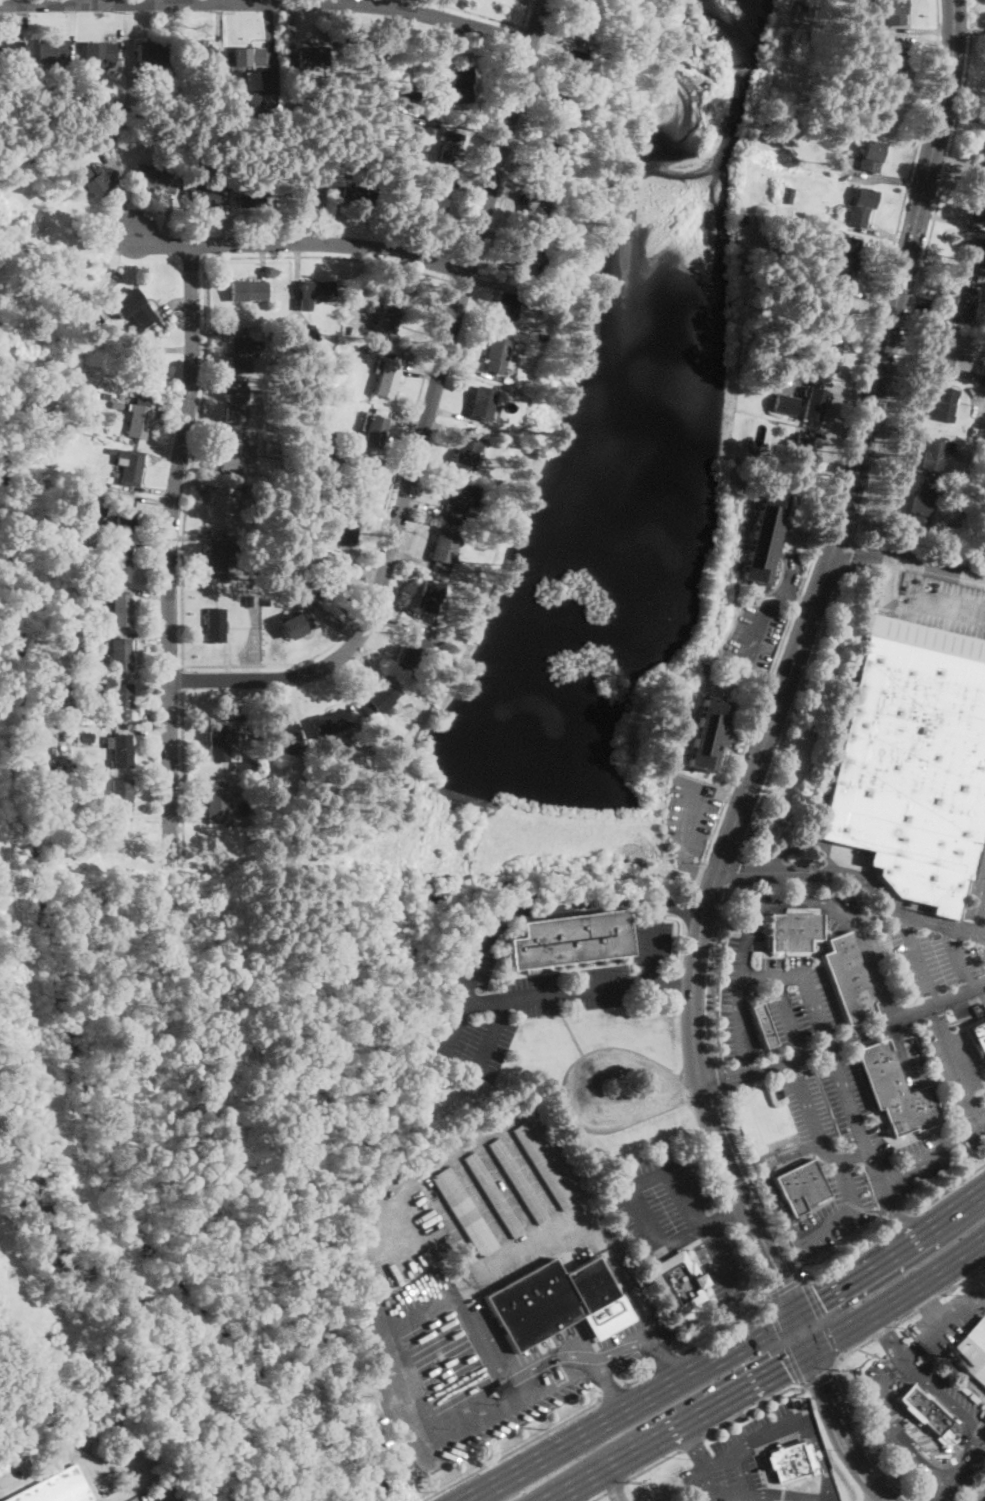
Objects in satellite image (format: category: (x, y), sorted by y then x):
road: (161, 0)
road: (12, 1)
road: (59, 1)
road: (316, 1)
road: (367, 1)
road: (268, 2)
road: (378, 2)
road: (534, 2)
building: (800, 6)
road: (473, 12)
building: (893, 12)
road: (525, 13)
building: (587, 16)
road: (19, 20)
road: (367, 25)
road: (120, 26)
road: (133, 27)
road: (72, 29)
road: (219, 29)
road: (919, 29)
road: (292, 30)
road: (268, 31)
road: (970, 31)
road: (518, 37)
road: (558, 40)
road: (923, 40)
building: (11, 52)
building: (52, 52)
building: (99, 52)
building: (149, 52)
building: (196, 54)
building: (313, 56)
building: (362, 56)
building: (246, 58)
building: (891, 60)
building: (573, 66)
building: (251, 80)
building: (460, 84)
road: (967, 84)
building: (407, 90)
road: (536, 92)
road: (920, 103)
building: (265, 105)
building: (882, 108)
building: (561, 110)
building: (117, 111)
road: (465, 111)
building: (147, 114)
road: (453, 125)
building: (100, 139)
building: (406, 139)
road: (521, 140)
building: (367, 143)
building: (452, 144)
road: (486, 153)
building: (869, 155)
building: (547, 161)
road: (958, 168)
building: (984, 169)
building: (397, 172)
building: (156, 178)
road: (885, 179)
building: (95, 182)
road: (471, 187)
road: (120, 189)
road: (506, 191)
building: (786, 192)
building: (358, 193)
building: (301, 194)
building: (252, 195)
building: (204, 196)
building: (434, 196)
building: (979, 203)
building: (860, 207)
building: (534, 208)
road: (271, 214)
road: (322, 214)
road: (335, 214)
road: (227, 215)
road: (166, 220)
road: (948, 220)
road: (500, 233)
road: (890, 235)
road: (299, 242)
road: (884, 249)
building: (523, 255)
road: (328, 256)
building: (843, 256)
building: (973, 256)
road: (264, 261)
road: (296, 269)
road: (454, 269)
road: (935, 269)
road: (398, 273)
road: (919, 275)
road: (927, 280)
road: (488, 281)
building: (248, 289)
building: (314, 293)
road: (875, 298)
road: (174, 304)
building: (959, 304)
building: (836, 305)
building: (136, 309)
building: (507, 310)
building: (388, 314)
building: (348, 328)
road: (222, 330)
building: (308, 332)
building: (538, 334)
road: (859, 341)
building: (537, 344)
road: (168, 349)
building: (241, 354)
building: (498, 354)
building: (952, 354)
building: (826, 356)
road: (414, 364)
road: (470, 367)
building: (982, 368)
building: (142, 370)
road: (975, 374)
road: (975, 379)
building: (386, 380)
building: (322, 381)
building: (507, 381)
road: (209, 383)
road: (831, 387)
building: (117, 396)
building: (786, 402)
building: (943, 403)
road: (978, 403)
building: (237, 404)
building: (482, 404)
building: (813, 404)
road: (167, 405)
road: (425, 416)
road: (406, 420)
building: (136, 421)
road: (449, 426)
building: (376, 429)
road: (206, 430)
road: (831, 437)
building: (327, 438)
building: (269, 447)
building: (113, 450)
building: (283, 451)
building: (230, 453)
building: (801, 453)
building: (464, 454)
road: (843, 454)
building: (323, 455)
building: (933, 455)
road: (373, 460)
road: (192, 463)
road: (890, 467)
building: (130, 468)
building: (115, 473)
building: (359, 475)
road: (199, 480)
road: (144, 488)
building: (123, 493)
road: (145, 499)
building: (459, 500)
building: (921, 502)
building: (222, 506)
road: (420, 508)
building: (98, 513)
road: (372, 516)
building: (123, 517)
road: (882, 518)
building: (347, 528)
building: (947, 531)
building: (763, 536)
road: (193, 537)
building: (486, 539)
road: (378, 540)
road: (144, 544)
building: (442, 547)
building: (219, 556)
road: (906, 557)
road: (169, 558)
road: (409, 558)
building: (121, 564)
road: (845, 565)
road: (359, 567)
park: (3, 573)
building: (329, 578)
road: (886, 582)
road: (784, 591)
road: (141, 595)
building: (425, 596)
parking lot: (930, 600)
building: (65, 602)
road: (399, 608)
building: (121, 610)
road: (941, 611)
road: (394, 622)
building: (215, 625)
road: (758, 625)
building: (296, 628)
road: (337, 631)
parking lot: (753, 633)
road: (141, 636)
building: (411, 652)
building: (120, 654)
road: (227, 659)
road: (366, 663)
road: (182, 681)
road: (784, 682)
road: (333, 684)
road: (232, 690)
building: (51, 692)
road: (287, 698)
building: (120, 700)
building: (378, 702)
building: (233, 713)
road: (146, 721)
road: (790, 721)
building: (330, 723)
road: (143, 731)
building: (708, 734)
building: (284, 737)
building: (392, 737)
building: (86, 738)
building: (219, 741)
building: (119, 750)
building: (913, 761)
building: (242, 767)
road: (182, 774)
building: (252, 785)
building: (120, 795)
road: (728, 796)
building: (215, 800)
parking lot: (690, 809)
road: (689, 813)
road: (148, 815)
road: (197, 819)
dam: (415, 820)
road: (146, 825)
road: (198, 827)
dam: (550, 836)
road: (797, 844)
building: (121, 846)
building: (217, 848)
road: (690, 869)
road: (735, 871)
road: (861, 873)
parking lot: (977, 891)
road: (978, 902)
road: (981, 904)
road: (587, 905)
road: (852, 915)
building: (791, 931)
building: (569, 940)
road: (652, 944)
road: (958, 958)
road: (711, 969)
building: (848, 978)
road: (672, 983)
road: (740, 985)
road: (556, 992)
building: (753, 992)
road: (959, 995)
parking lot: (529, 997)
road: (464, 1002)
parking lot: (948, 1013)
road: (786, 1014)
road: (937, 1016)
building: (763, 1026)
road: (492, 1037)
building: (977, 1037)
road: (817, 1048)
road: (904, 1050)
road: (831, 1051)
parking lot: (815, 1058)
road: (793, 1066)
road: (745, 1068)
road: (715, 1077)
road: (586, 1085)
road: (687, 1085)
parking lot: (617, 1088)
building: (894, 1092)
road: (808, 1109)
road: (473, 1141)
road: (933, 1151)
road: (842, 1159)
building: (543, 1165)
road: (706, 1167)
road: (534, 1179)
road: (567, 1179)
road: (767, 1179)
building: (517, 1181)
building: (800, 1186)
road: (754, 1188)
road: (630, 1191)
road: (509, 1192)
building: (493, 1195)
road: (936, 1197)
road: (483, 1207)
road: (728, 1210)
road: (846, 1211)
building: (464, 1212)
parking lot: (833, 1213)
road: (724, 1214)
road: (880, 1214)
road: (895, 1215)
parking lot: (673, 1216)
road: (452, 1223)
road: (897, 1223)
parking lot: (398, 1236)
road: (537, 1247)
road: (717, 1258)
road: (839, 1259)
road: (960, 1279)
traffic signals: (784, 1280)
building: (677, 1283)
road: (782, 1286)
traffic signals: (819, 1299)
building: (557, 1302)
road: (926, 1302)
road: (638, 1305)
road: (926, 1305)
road: (762, 1308)
road: (905, 1315)
road: (820, 1316)
road: (881, 1329)
road: (887, 1336)
road: (644, 1343)
road: (785, 1343)
building: (971, 1351)
road: (725, 1352)
road: (871, 1353)
road: (560, 1356)
road: (396, 1357)
parking lot: (488, 1361)
road: (667, 1362)
traffic signals: (784, 1364)
road: (893, 1367)
road: (766, 1373)
road: (817, 1375)
road: (520, 1376)
road: (640, 1379)
traffic signals: (821, 1382)
road: (608, 1384)
road: (611, 1389)
road: (751, 1405)
building: (925, 1412)
road: (854, 1415)
road: (959, 1423)
road: (837, 1431)
parking lot: (914, 1435)
road: (690, 1442)
road: (692, 1444)
road: (740, 1449)
road: (511, 1450)
parking lot: (746, 1459)
building: (790, 1462)
road: (945, 1462)
road: (650, 1464)
road: (745, 1473)
road: (949, 1474)
road: (619, 1476)
road: (614, 1484)
building: (56, 1488)
road: (945, 1488)
parking lot: (158, 1492)
road: (595, 1495)
road: (168, 1500)

